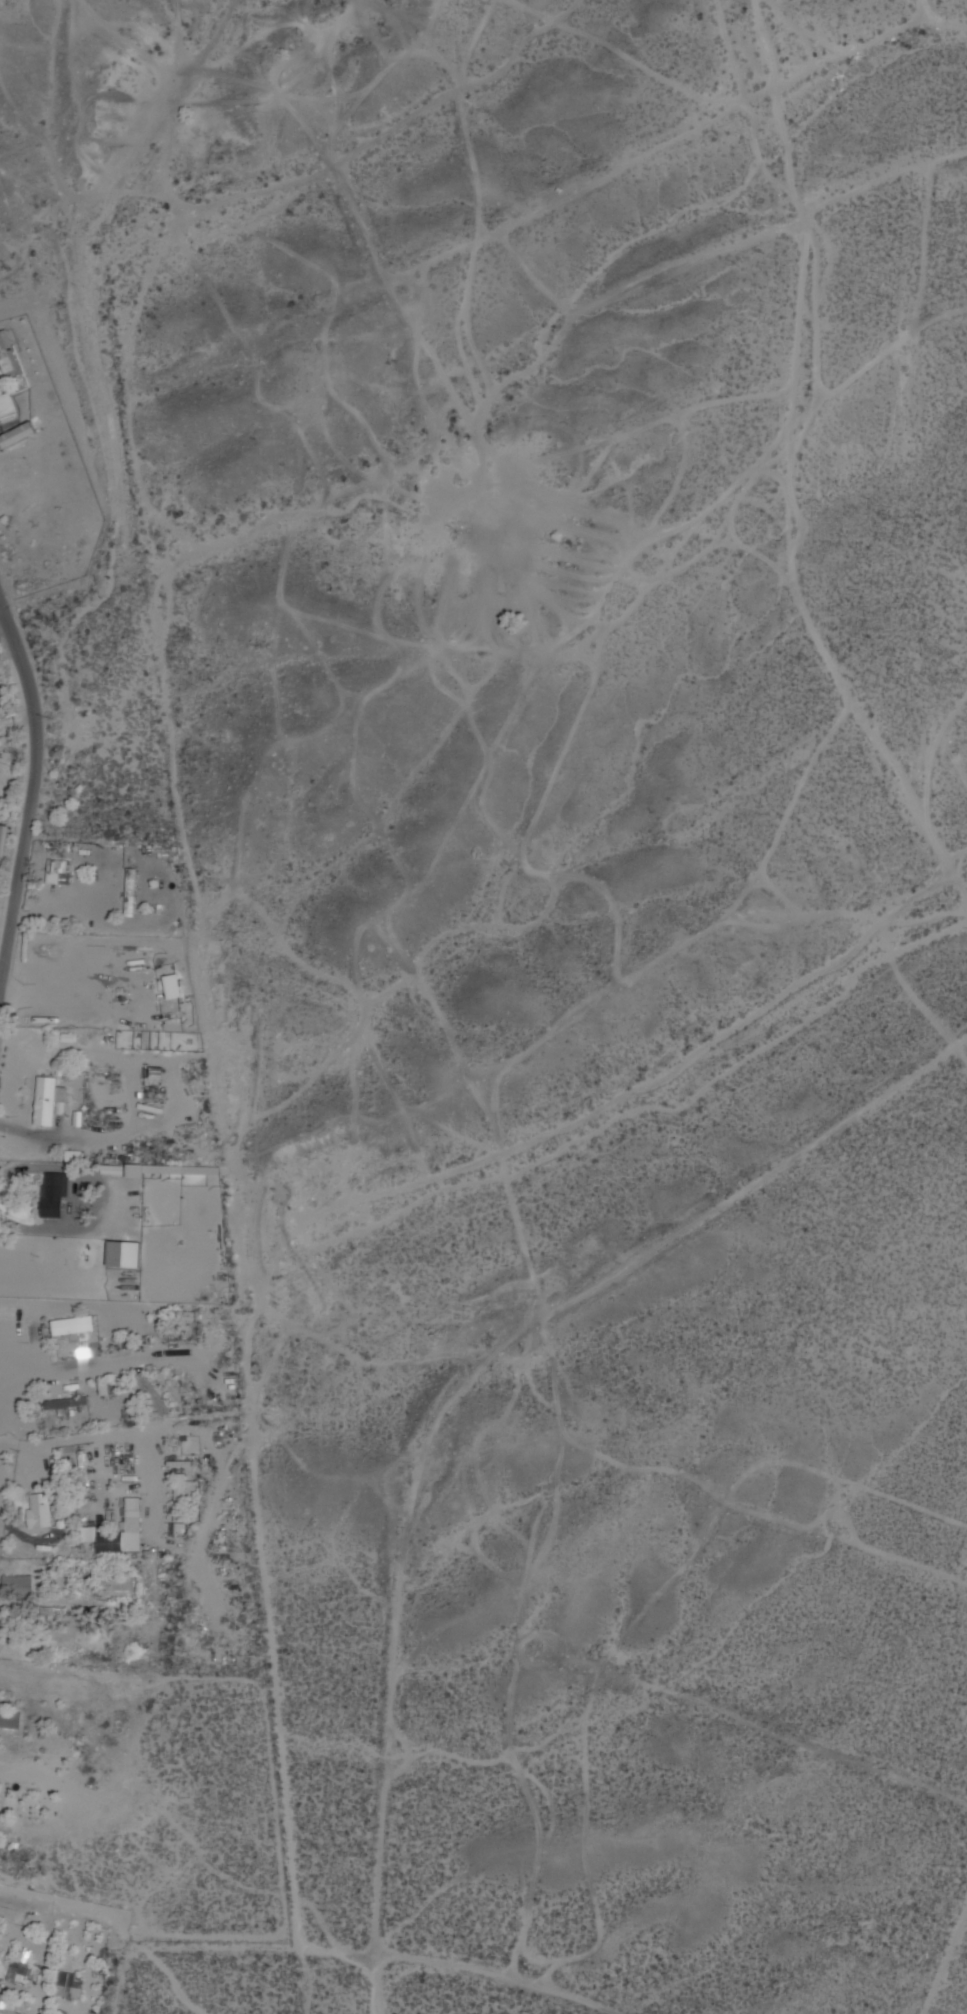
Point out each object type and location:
building: (7, 404)
building: (17, 435)
road: (3, 615)
building: (2, 699)
road: (33, 799)
building: (4, 840)
building: (61, 872)
building: (132, 894)
building: (103, 983)
building: (51, 1100)
building: (72, 1156)
building: (112, 1170)
building: (155, 1170)
building: (56, 1196)
building: (125, 1255)
building: (73, 1325)
building: (108, 1388)
building: (156, 1397)
building: (68, 1406)
building: (182, 1497)
building: (42, 1513)
building: (123, 1534)
building: (19, 1585)
building: (10, 1719)
building: (25, 1969)
road: (497, 1976)
building: (70, 1985)
building: (8, 2007)

